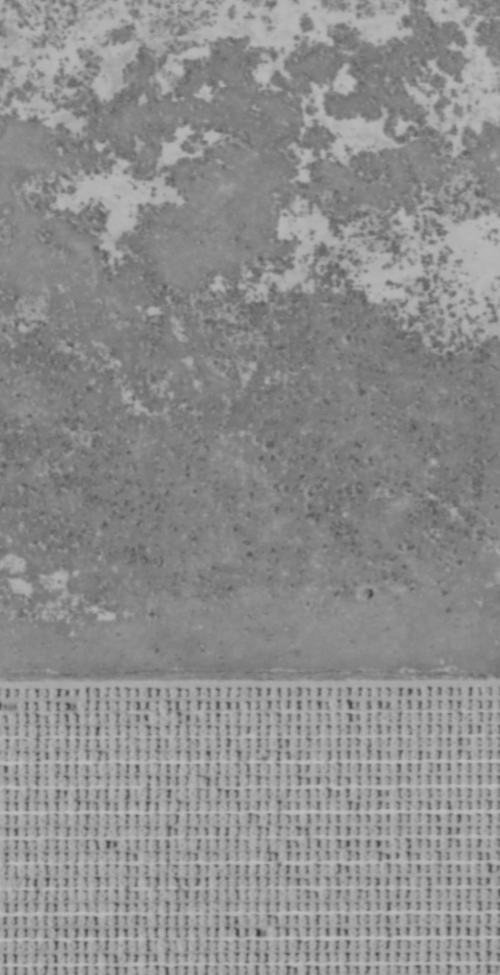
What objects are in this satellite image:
road: (250, 688)

